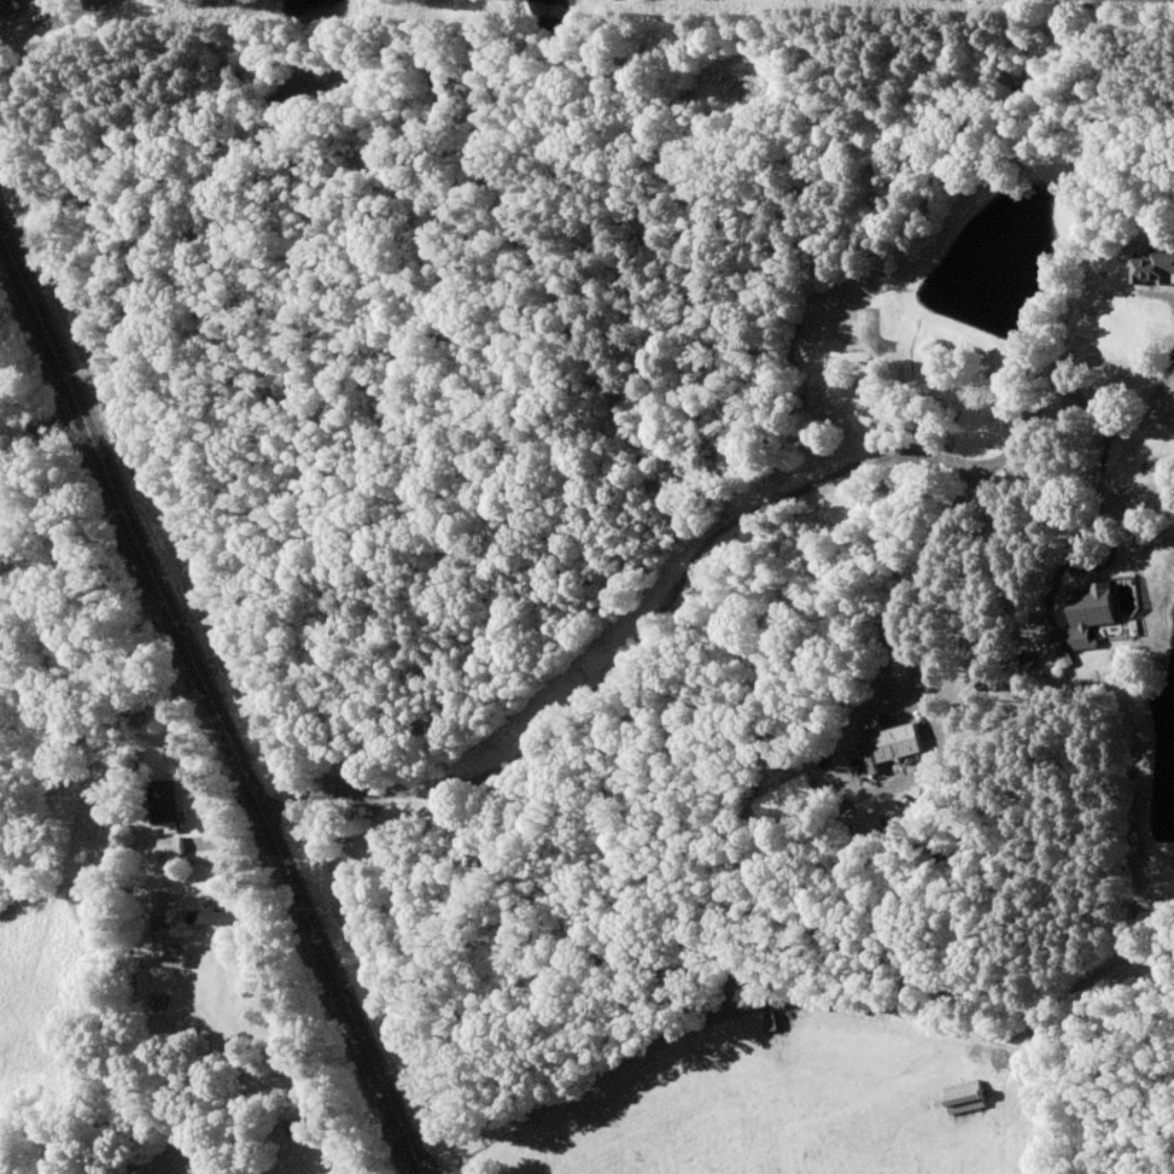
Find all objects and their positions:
building: (33, 1)
building: (1150, 269)
building: (842, 328)
road: (1162, 373)
building: (1088, 614)
road: (373, 717)
road: (199, 741)
building: (894, 744)
building: (162, 802)
building: (173, 958)
building: (767, 1023)
building: (960, 1099)

